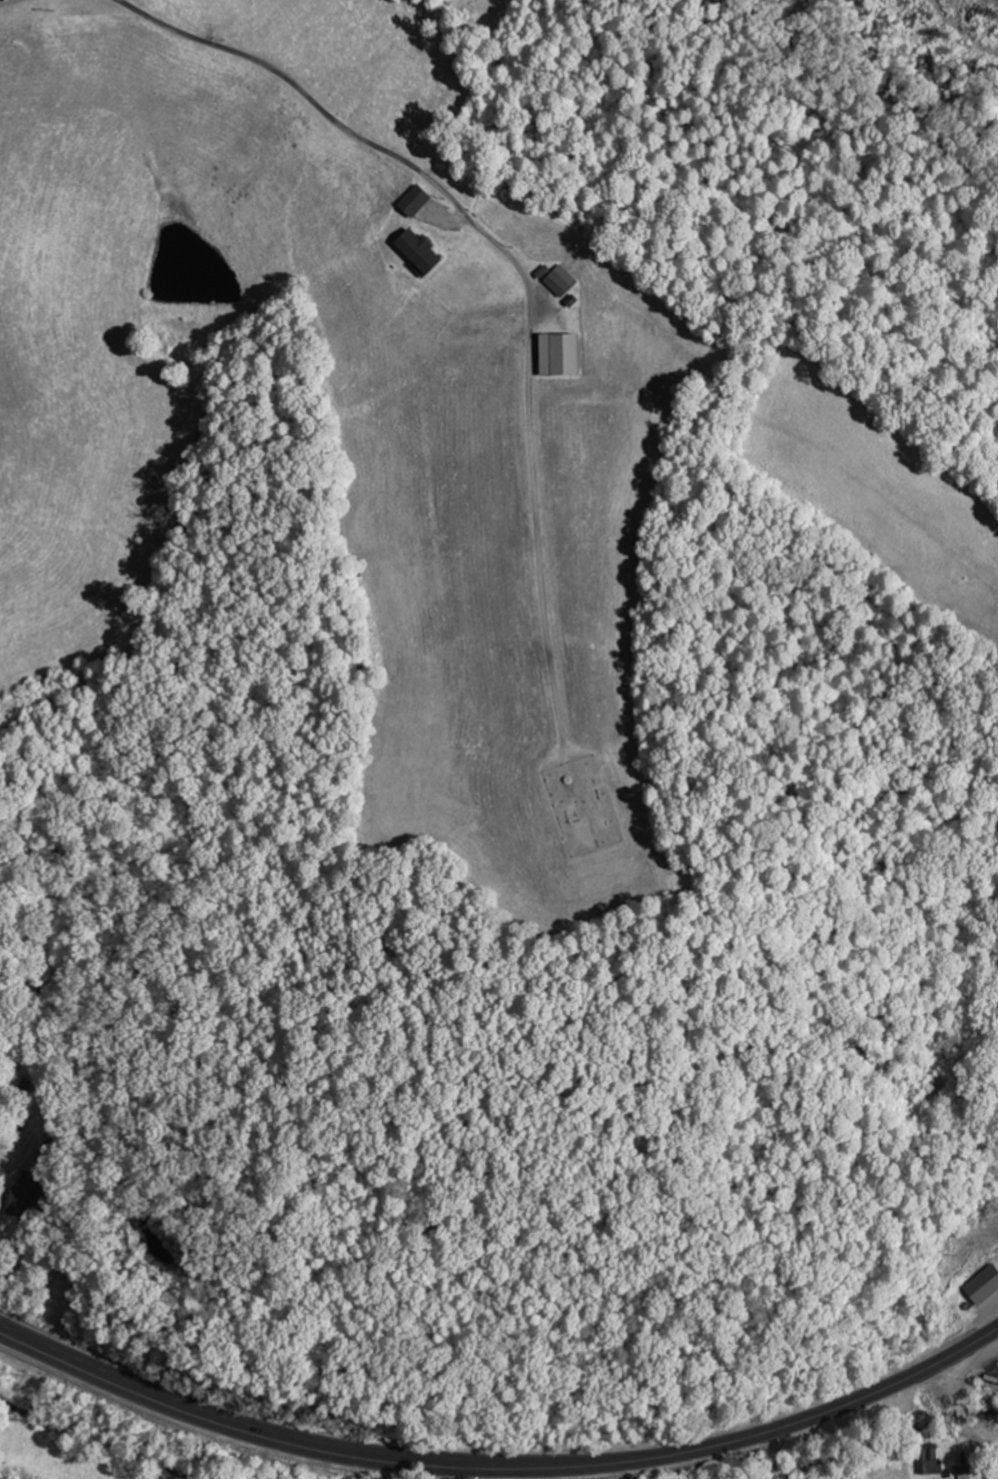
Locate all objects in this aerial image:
building: (420, 201)
building: (425, 252)
road: (513, 261)
building: (565, 282)
building: (565, 356)
building: (30, 1194)
road: (961, 1413)
building: (932, 1460)
road: (500, 1469)
building: (966, 1473)

